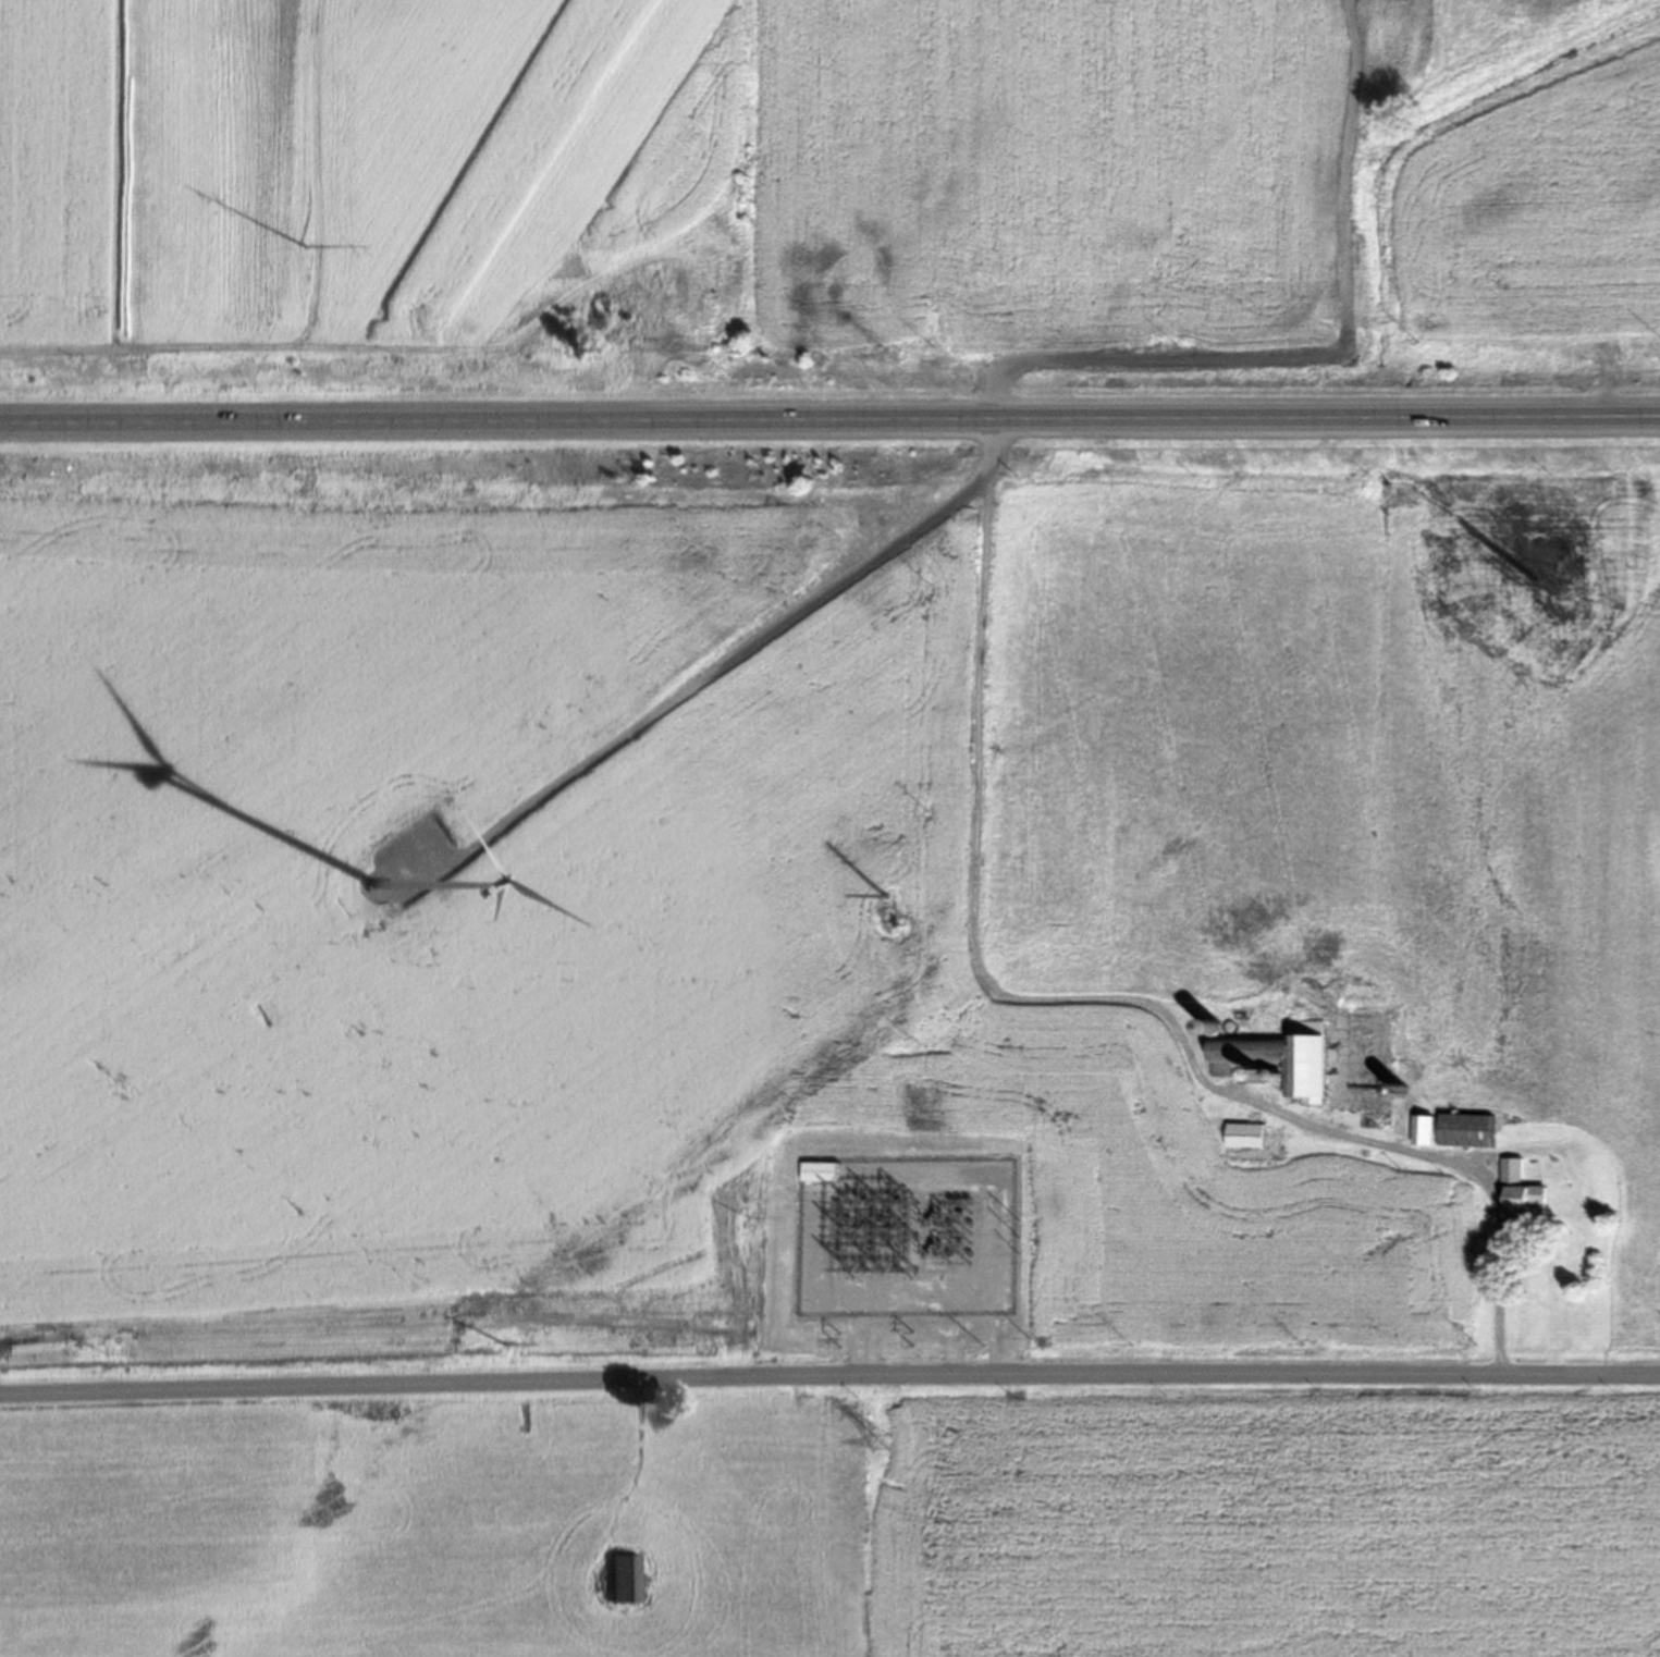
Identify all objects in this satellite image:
power tower: (299, 250)
power tower: (884, 359)
road: (829, 424)
road: (988, 438)
wind turbine: (368, 888)
power tower: (885, 918)
road: (1112, 993)
building: (1275, 1061)
building: (1417, 1136)
building: (1460, 1136)
building: (1238, 1141)
building: (811, 1177)
building: (1515, 1193)
power substation: (903, 1243)
road: (829, 1378)
power tower: (877, 1448)
building: (618, 1584)

